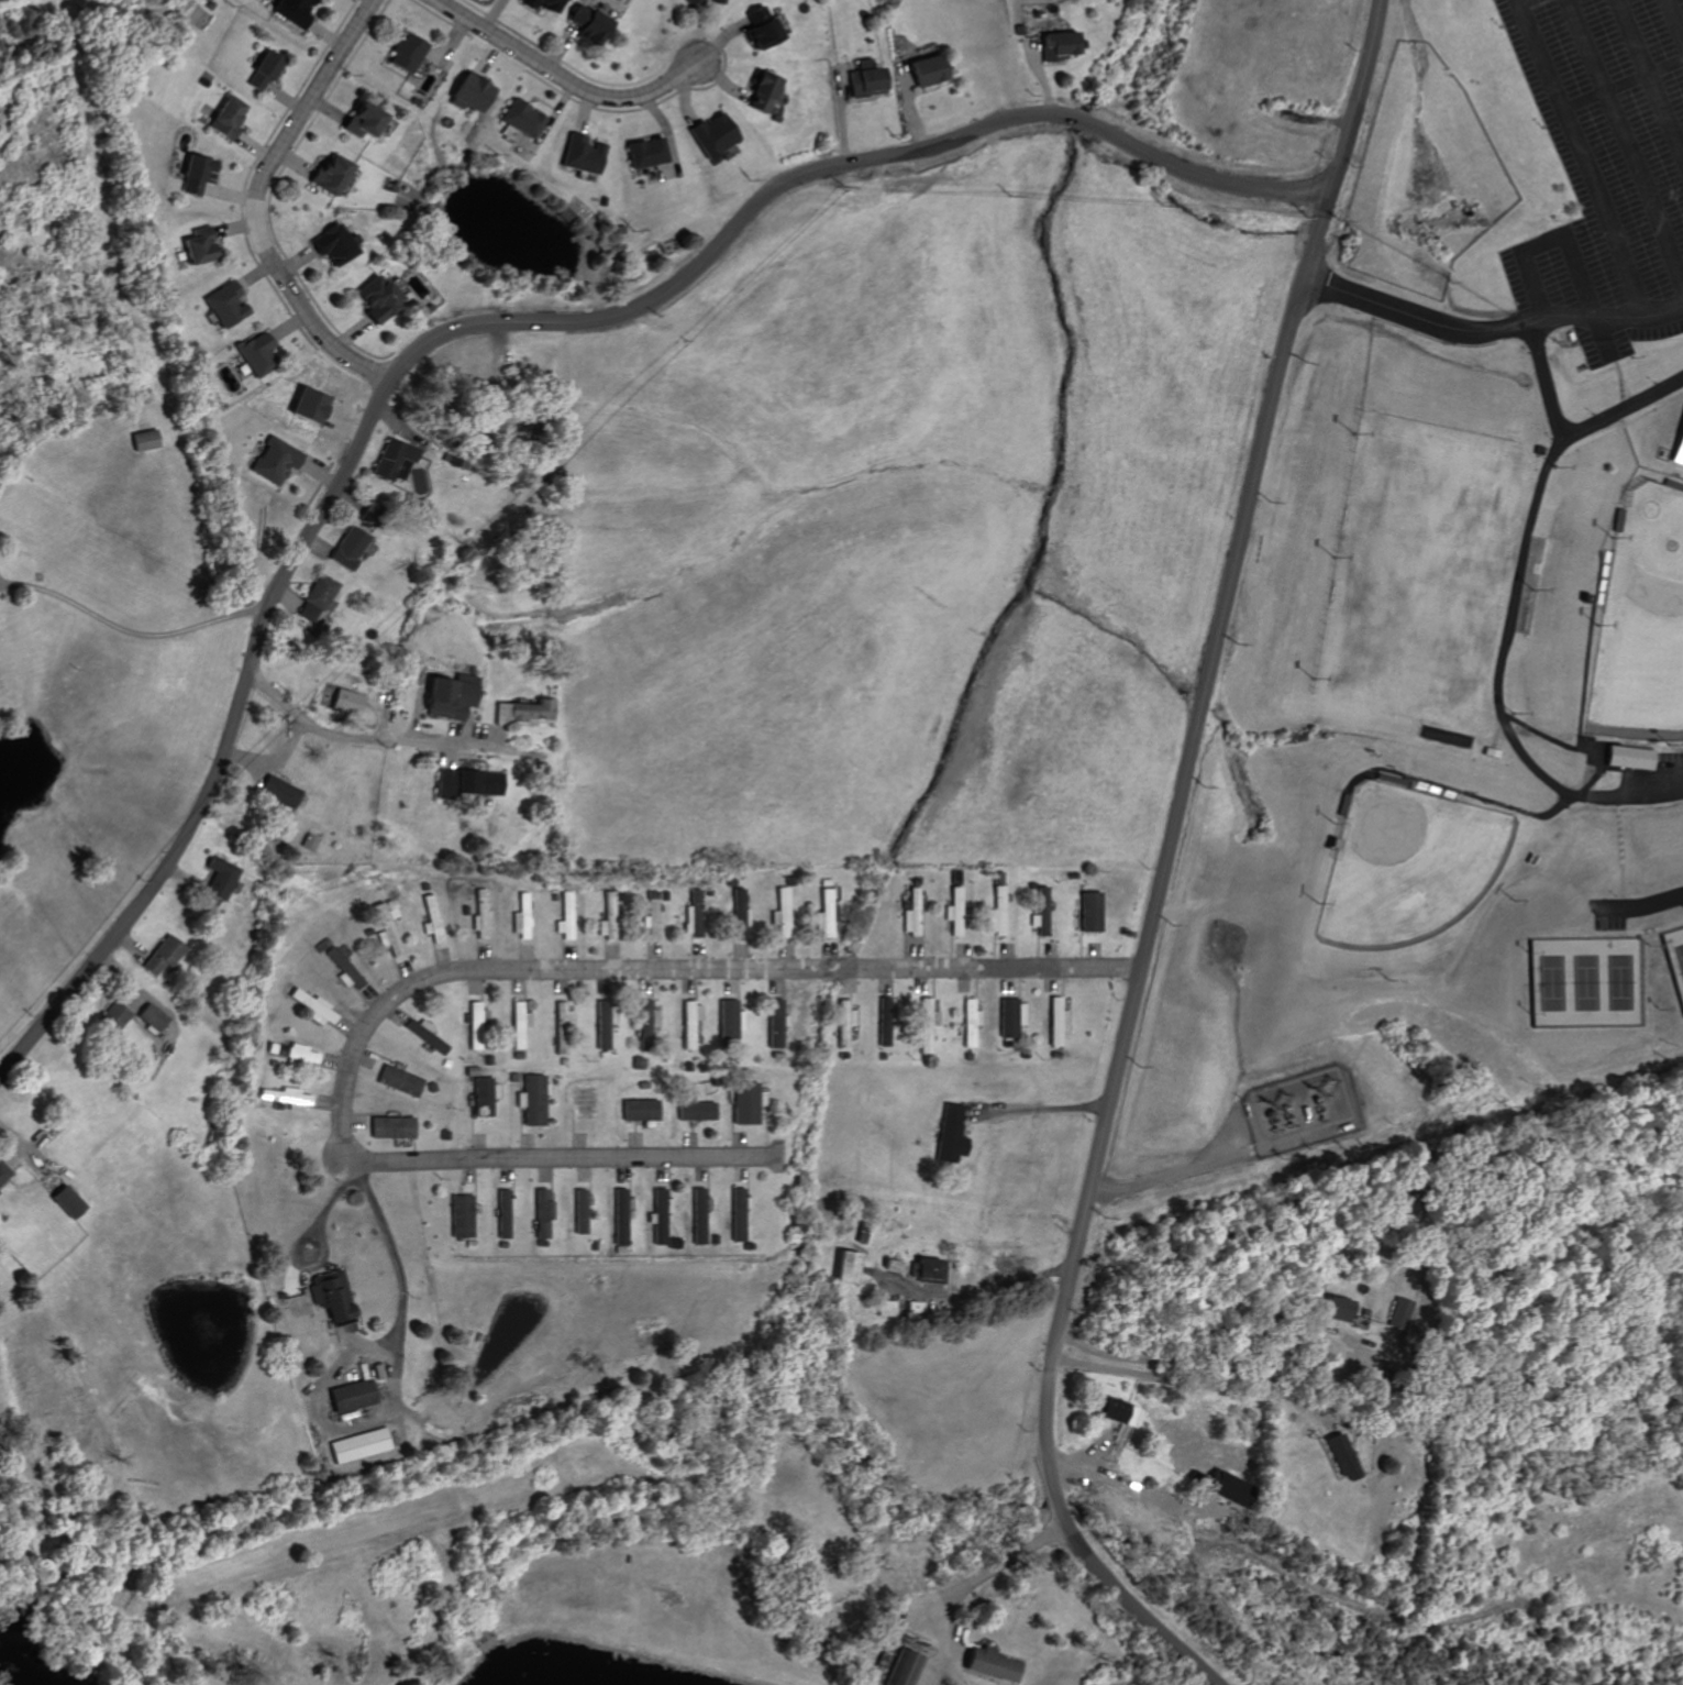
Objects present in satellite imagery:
building: (694, 1)
building: (717, 1)
road: (1520, 2)
building: (543, 3)
building: (295, 10)
building: (586, 23)
building: (757, 24)
road: (1672, 24)
building: (1054, 45)
building: (407, 52)
building: (264, 69)
building: (923, 69)
road: (560, 79)
road: (1619, 80)
building: (864, 81)
road: (1649, 86)
building: (759, 91)
building: (470, 92)
building: (226, 118)
building: (519, 119)
building: (362, 120)
road: (1078, 121)
building: (712, 133)
road: (1623, 147)
building: (642, 152)
building: (578, 154)
road: (1577, 156)
building: (198, 174)
building: (329, 174)
road: (1205, 175)
road: (256, 202)
road: (1562, 243)
building: (199, 244)
building: (333, 244)
building: (375, 298)
building: (226, 304)
road: (1410, 313)
road: (1604, 316)
building: (257, 353)
road: (379, 400)
building: (307, 405)
road: (1566, 432)
building: (142, 440)
building: (1676, 444)
building: (391, 458)
building: (275, 460)
building: (348, 547)
park: (1419, 572)
park: (1436, 581)
building: (317, 597)
stadium: (1640, 623)
road: (132, 626)
park: (1648, 635)
building: (446, 696)
building: (345, 702)
building: (522, 712)
road: (384, 741)
building: (1628, 759)
building: (465, 783)
building: (278, 791)
building: (313, 838)
road: (1162, 864)
park: (1406, 864)
building: (218, 878)
building: (741, 907)
building: (954, 911)
building: (997, 912)
building: (1089, 912)
building: (782, 913)
building: (911, 913)
building: (1041, 913)
building: (697, 914)
building: (823, 914)
building: (481, 915)
building: (655, 915)
building: (568, 916)
building: (610, 917)
building: (432, 918)
building: (387, 929)
building: (162, 956)
building: (345, 969)
road: (452, 972)
building: (883, 1006)
building: (152, 1017)
building: (1011, 1017)
building: (110, 1018)
building: (647, 1018)
building: (730, 1020)
building: (1056, 1021)
building: (972, 1022)
building: (775, 1023)
building: (843, 1023)
building: (520, 1024)
building: (689, 1024)
building: (561, 1025)
building: (927, 1025)
building: (474, 1026)
building: (421, 1034)
building: (398, 1081)
building: (484, 1097)
building: (288, 1098)
building: (533, 1100)
building: (745, 1103)
road: (1044, 1110)
building: (639, 1111)
building: (696, 1111)
power substation: (1289, 1114)
building: (389, 1127)
building: (949, 1135)
building: (2, 1172)
building: (65, 1202)
building: (582, 1211)
building: (662, 1212)
building: (505, 1214)
building: (542, 1214)
building: (737, 1214)
building: (461, 1216)
road: (392, 1252)
building: (844, 1267)
building: (924, 1269)
road: (996, 1285)
building: (331, 1297)
building: (1331, 1309)
road: (1277, 1370)
road: (1192, 1372)
building: (350, 1396)
building: (1116, 1411)
building: (361, 1445)
building: (1339, 1455)
road: (967, 1584)
building: (1000, 1662)
building: (907, 1665)

